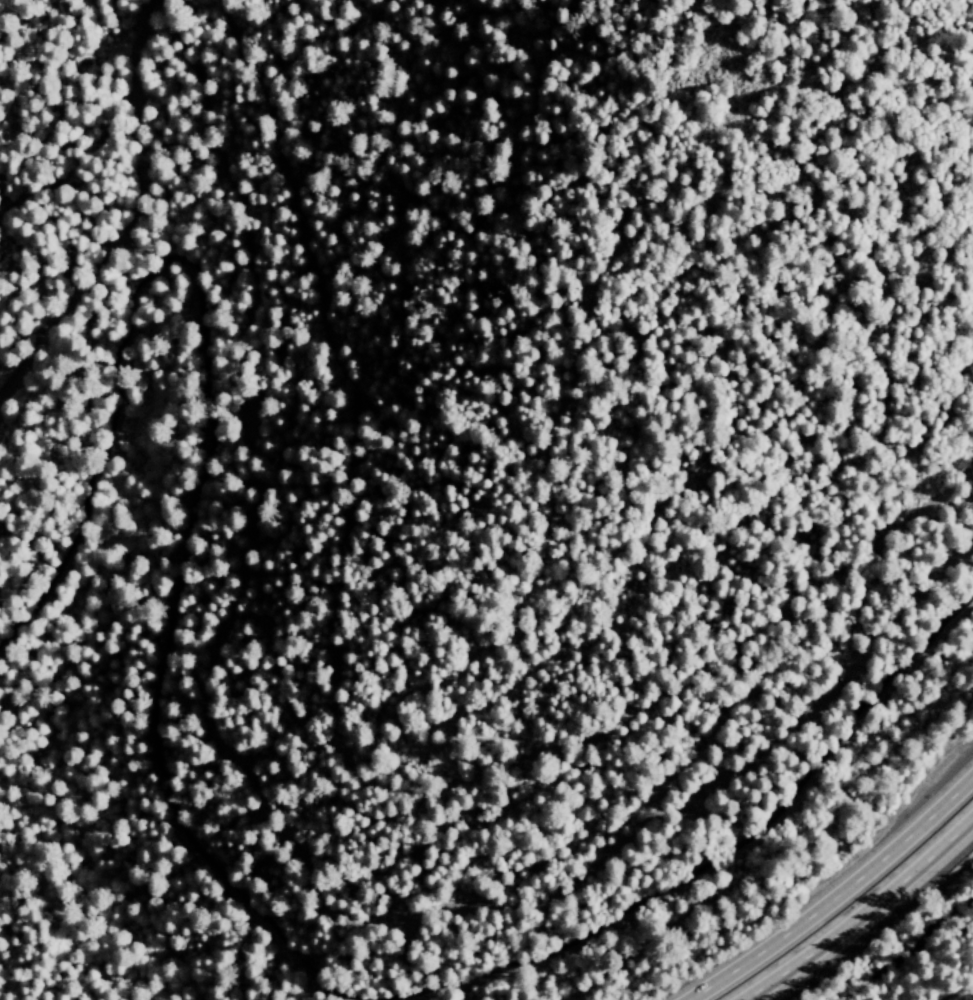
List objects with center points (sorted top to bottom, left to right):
road: (835, 894)
road: (860, 913)

